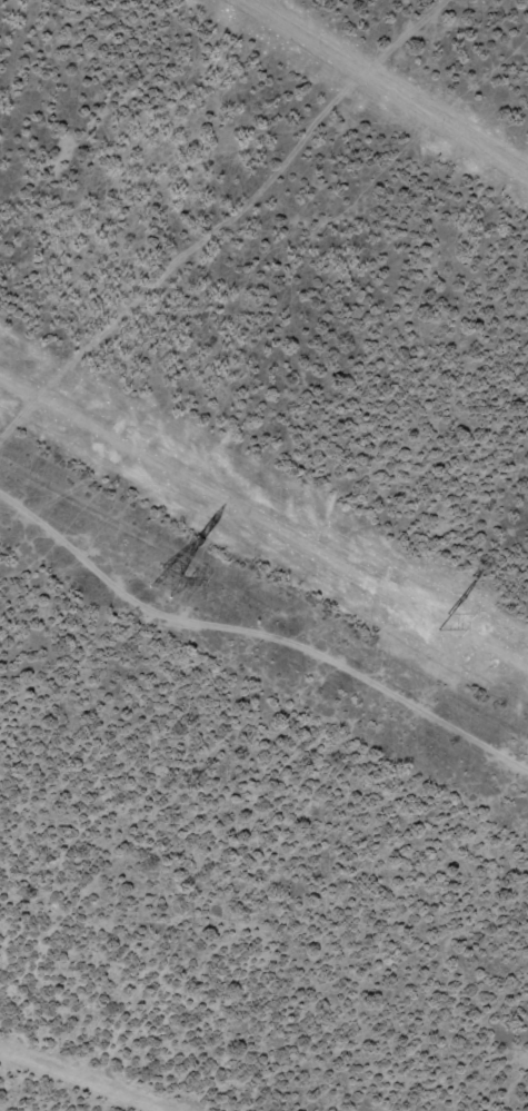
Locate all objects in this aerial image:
road: (209, 199)
power tower: (158, 581)

